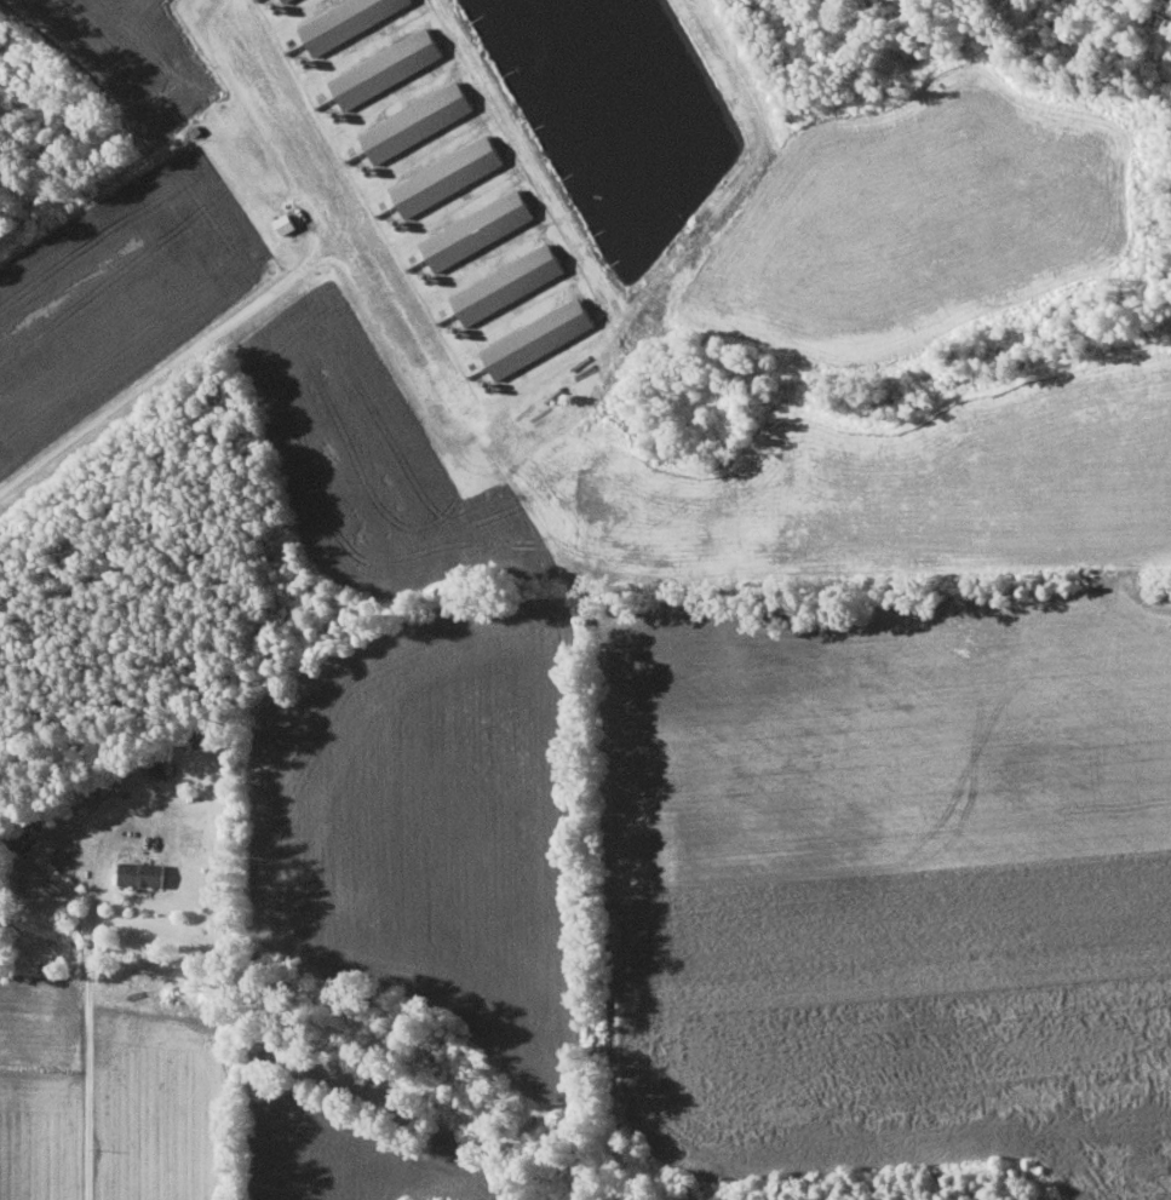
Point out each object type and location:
building: (285, 0)
building: (348, 21)
building: (386, 68)
building: (417, 122)
building: (447, 176)
building: (286, 223)
building: (477, 230)
building: (509, 283)
building: (538, 338)
road: (172, 363)
building: (163, 766)
building: (143, 872)
road: (85, 1015)

